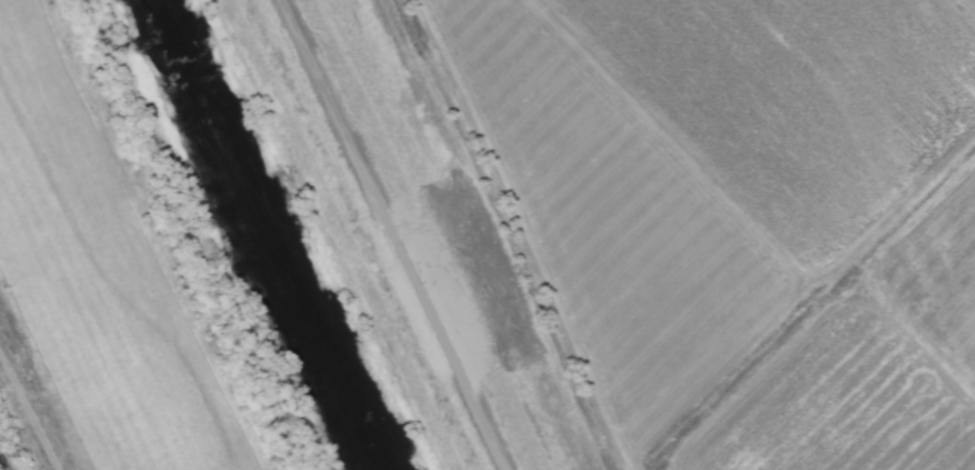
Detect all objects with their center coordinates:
crop: (690, 219)
crop: (112, 276)

